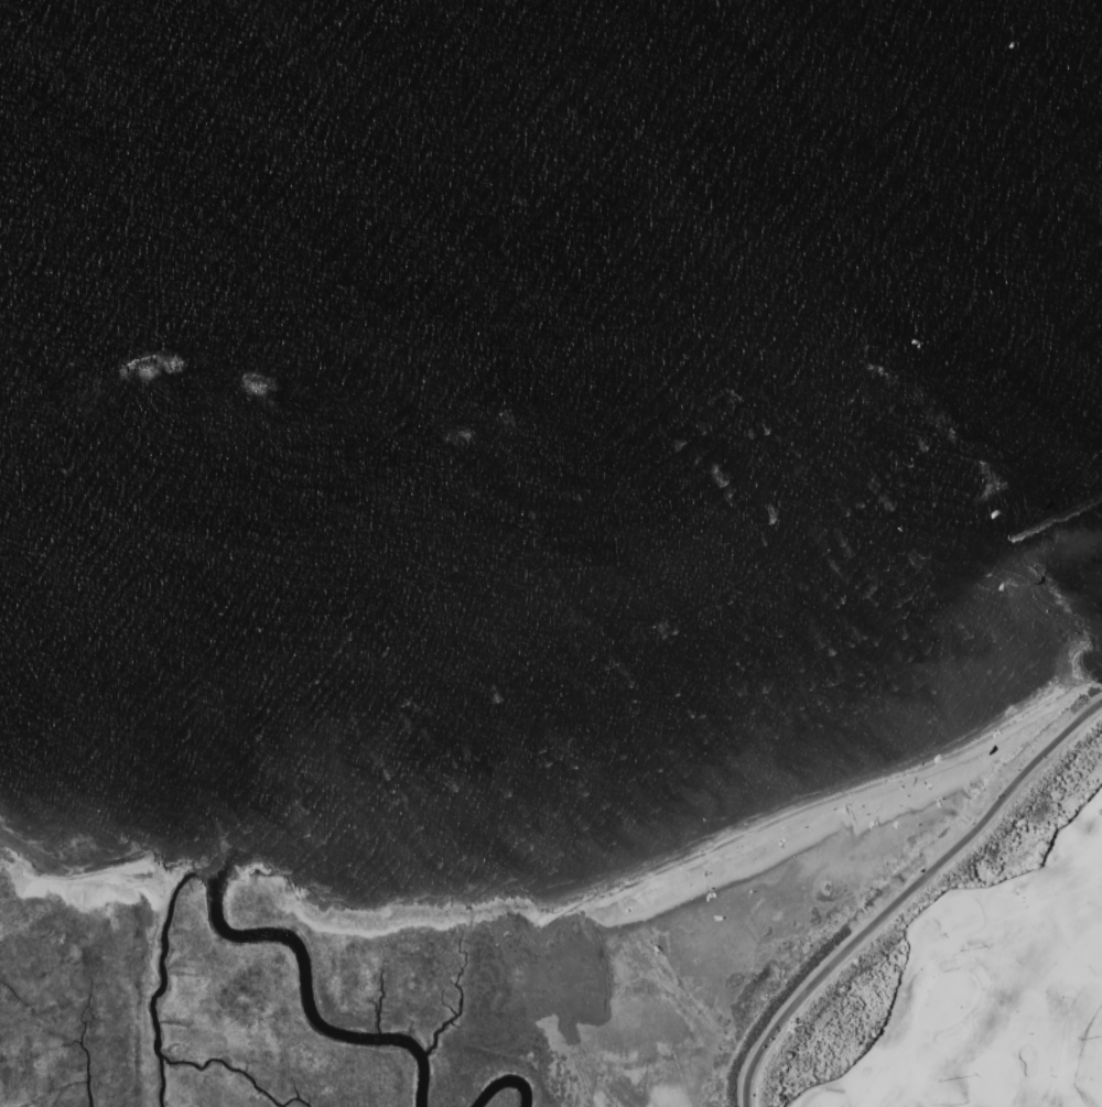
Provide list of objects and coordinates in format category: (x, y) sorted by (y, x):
park: (995, 992)

